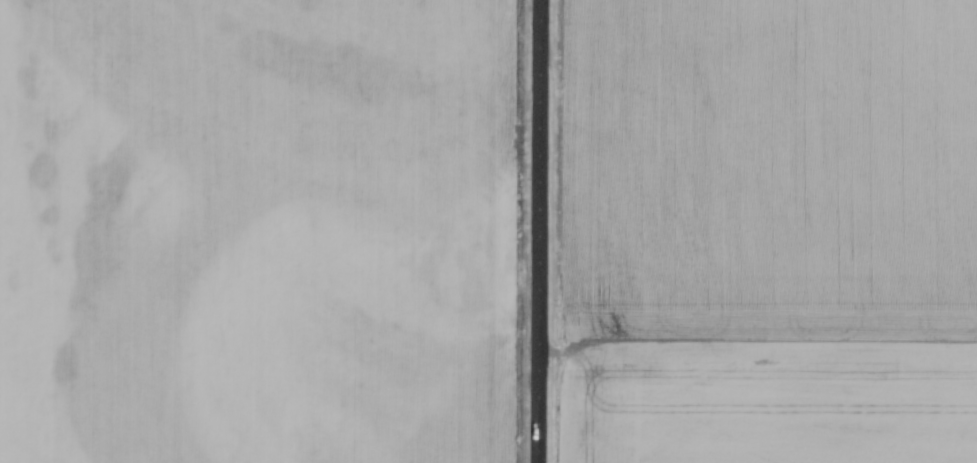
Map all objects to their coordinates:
road: (537, 231)

